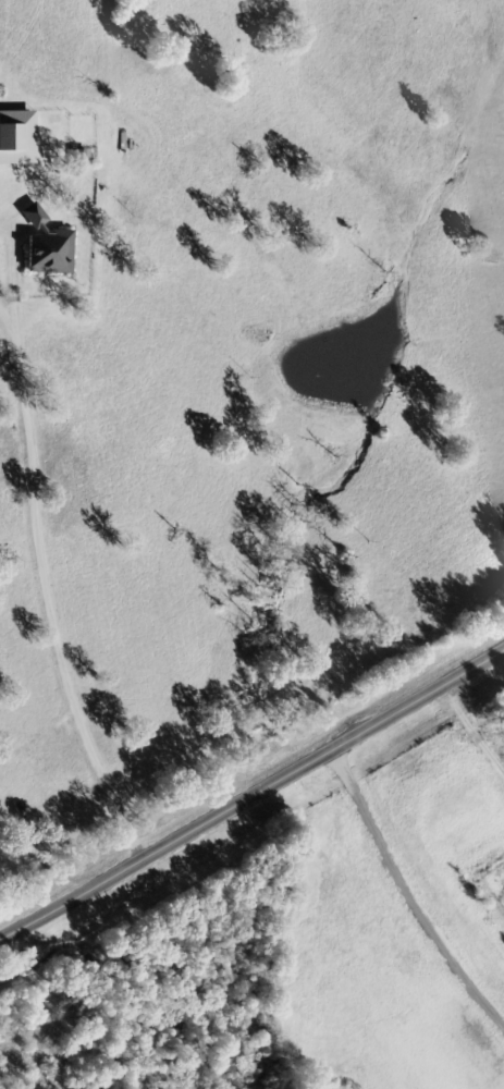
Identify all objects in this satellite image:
building: (19, 138)
building: (83, 158)
building: (50, 247)
road: (253, 794)

